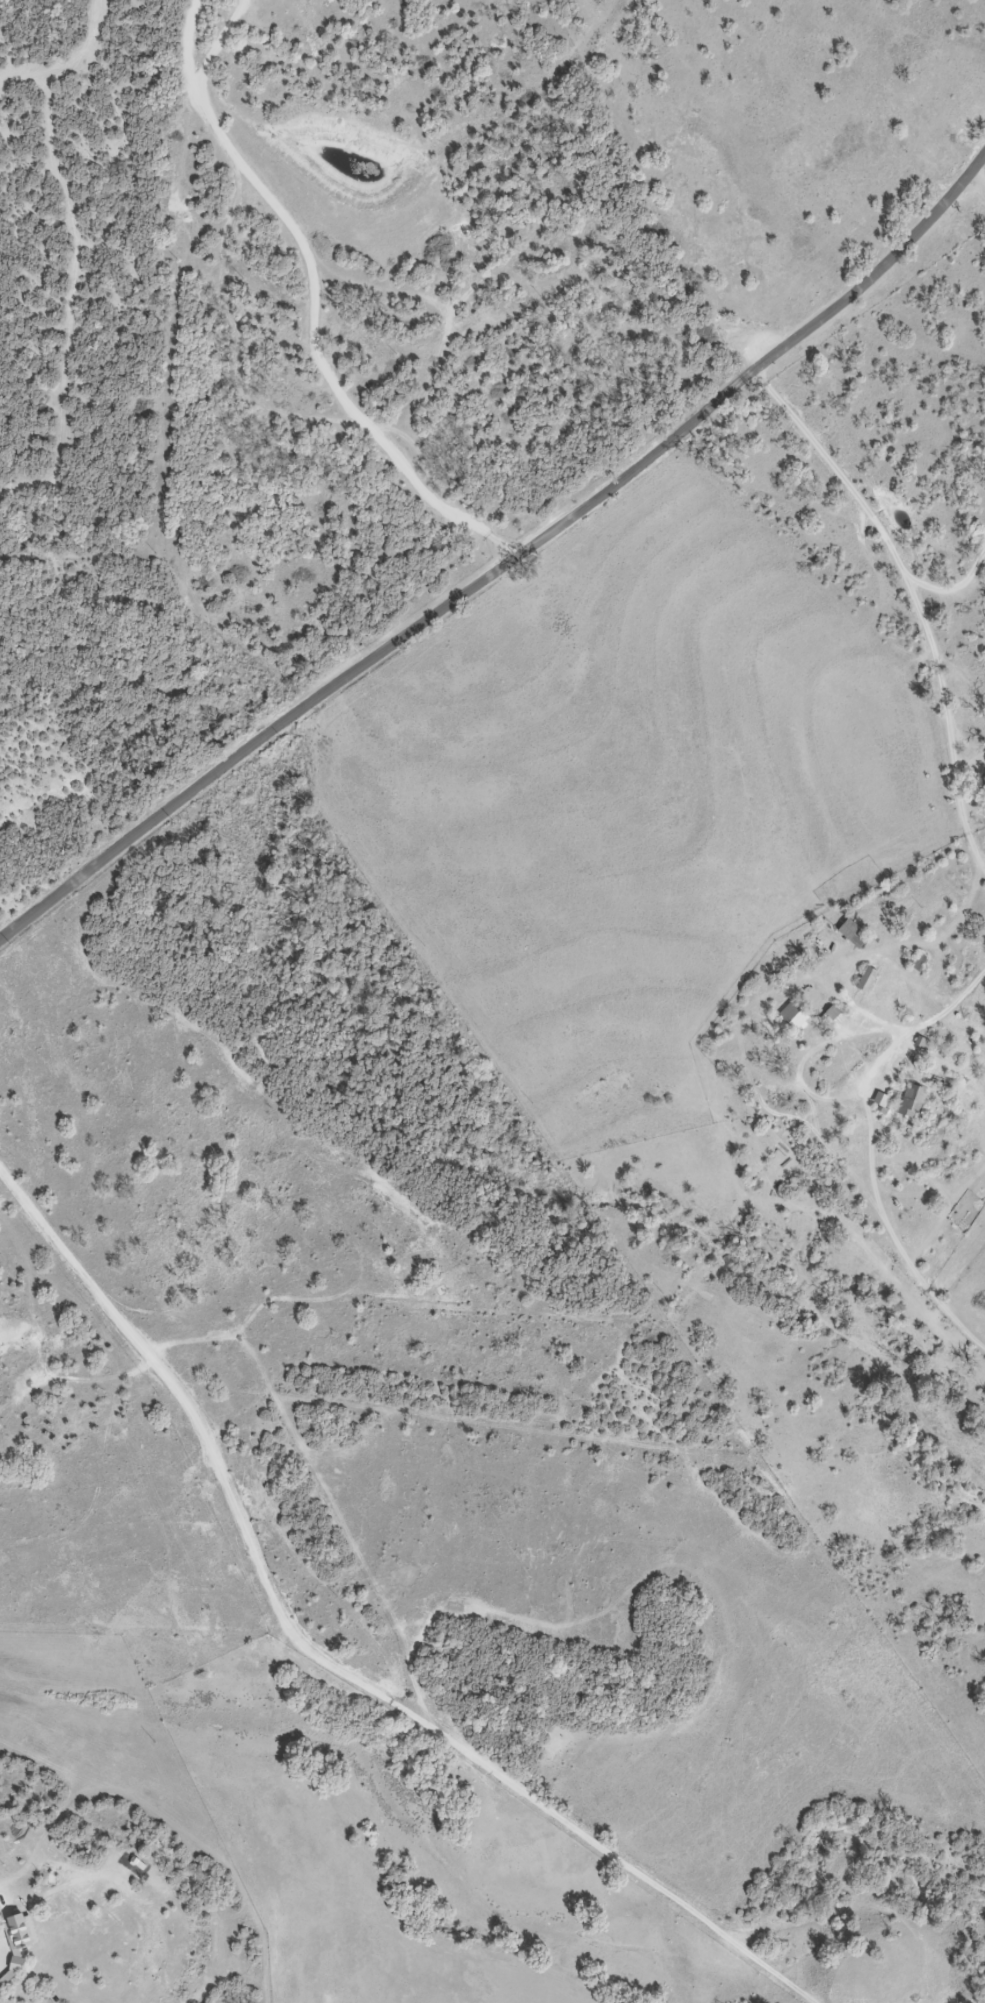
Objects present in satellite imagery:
road: (877, 271)
road: (324, 295)
road: (953, 587)
road: (917, 596)
road: (378, 657)
road: (972, 768)
building: (854, 935)
building: (920, 963)
building: (867, 981)
building: (794, 1017)
building: (912, 1103)
road: (874, 1149)
road: (324, 1663)

